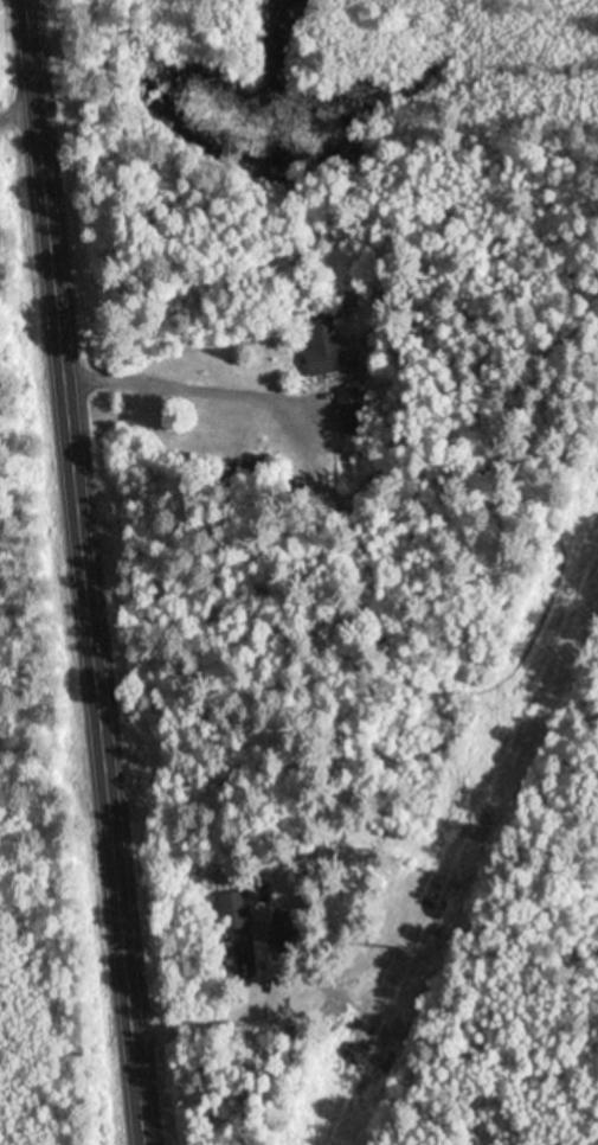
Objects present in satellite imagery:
building: (326, 341)
building: (353, 408)
road: (82, 572)
building: (236, 908)
building: (288, 929)
building: (232, 957)

